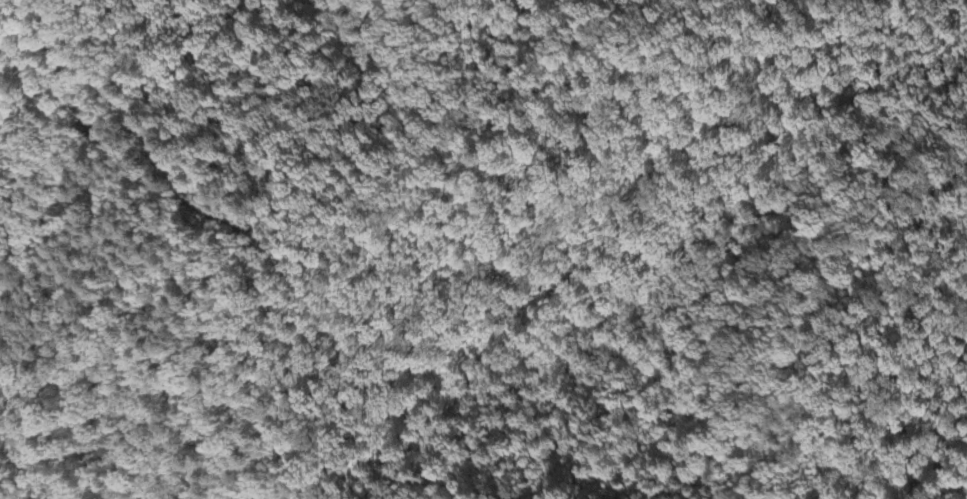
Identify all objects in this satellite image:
road: (26, 460)

